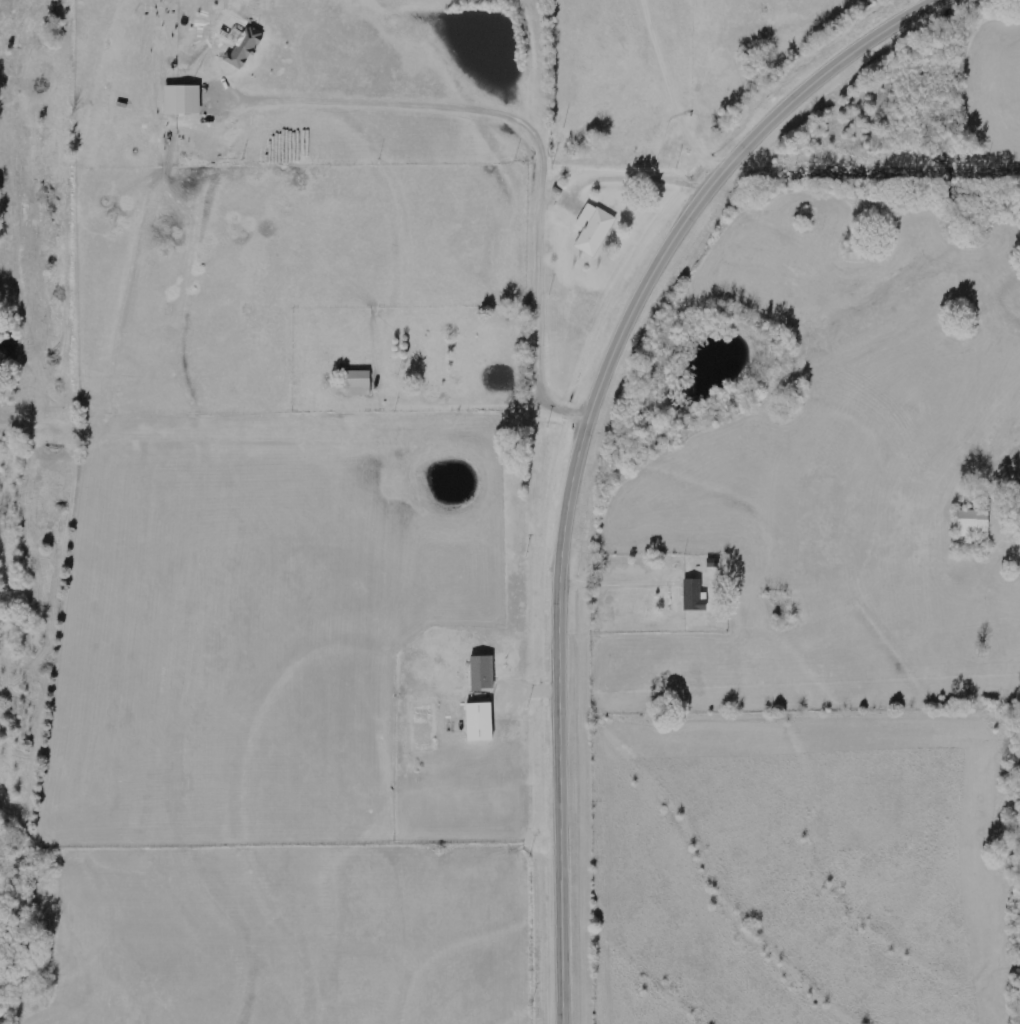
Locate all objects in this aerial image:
building: (244, 47)
road: (672, 92)
building: (182, 99)
building: (593, 229)
building: (358, 382)
road: (577, 438)
building: (974, 523)
road: (613, 584)
building: (694, 595)
building: (482, 673)
building: (479, 722)

